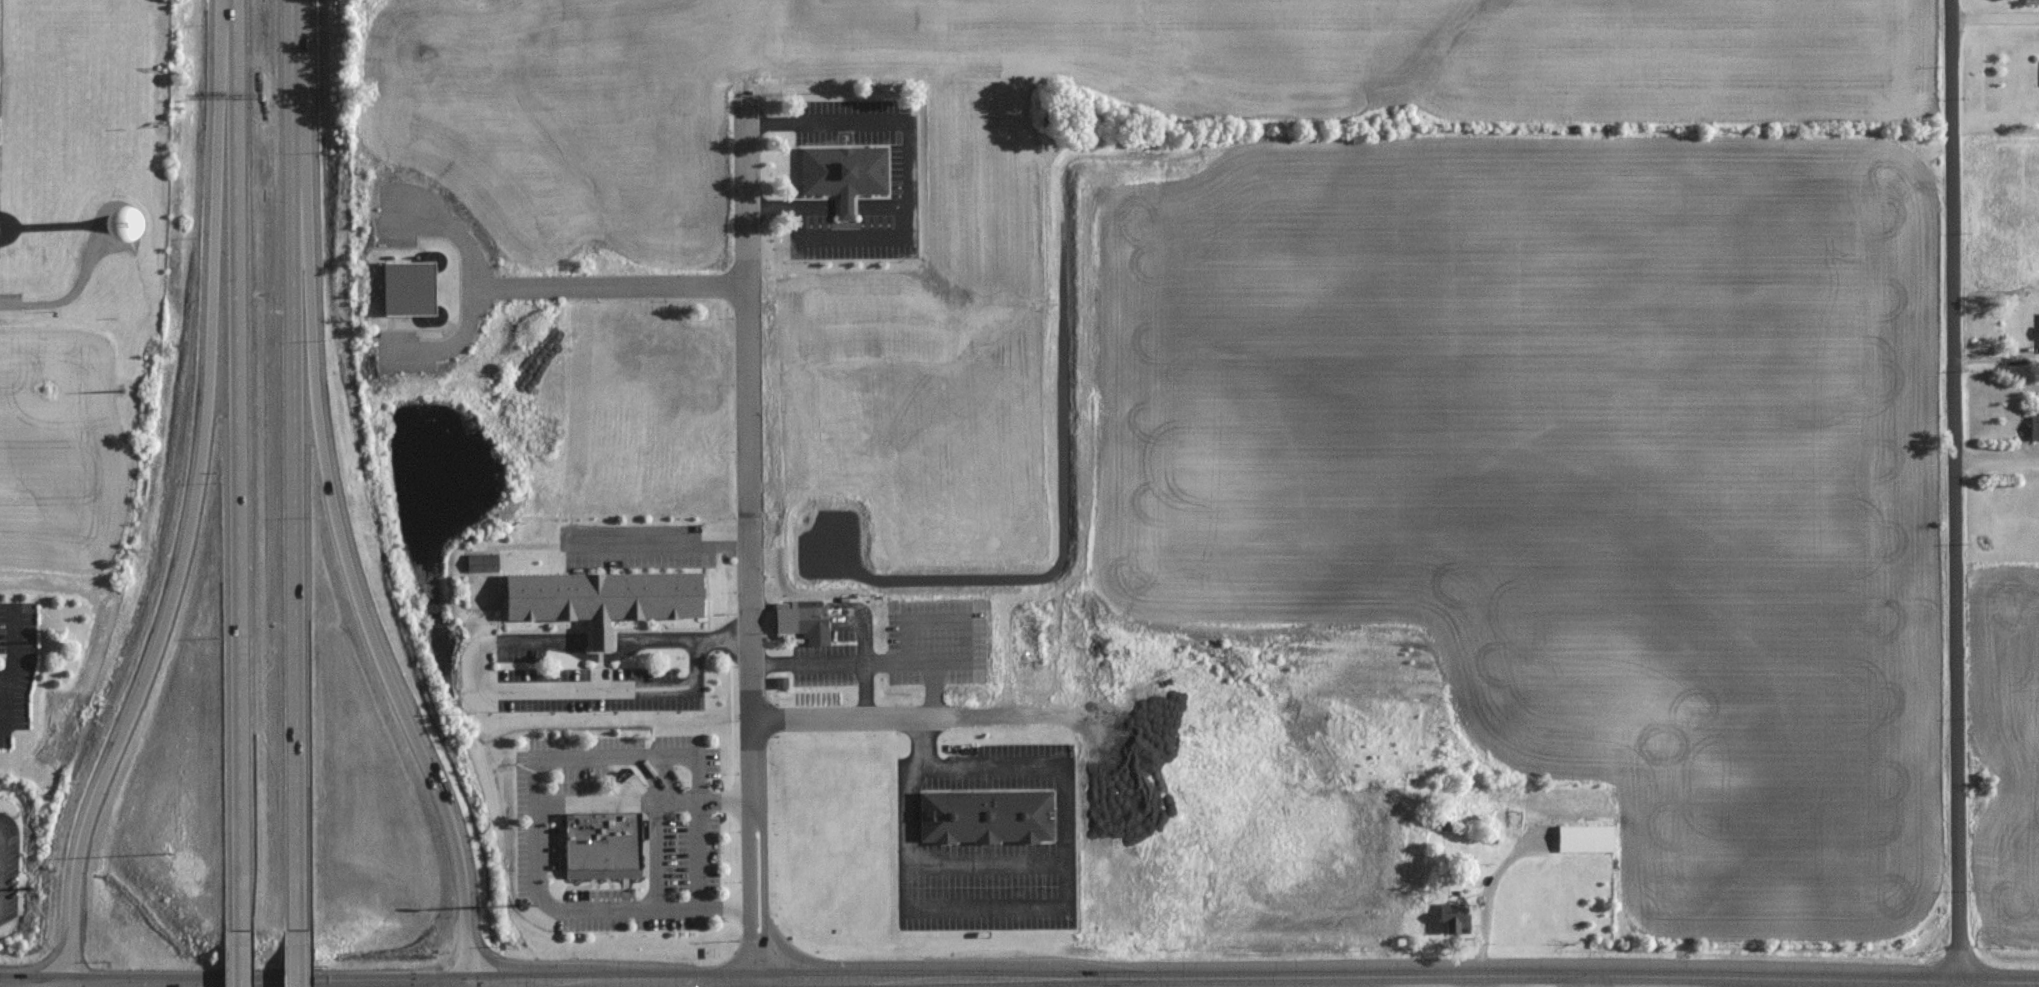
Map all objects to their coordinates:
road: (1996, 19)
building: (843, 173)
road: (906, 191)
water tower: (117, 224)
road: (611, 286)
road: (471, 287)
building: (408, 288)
road: (76, 291)
road: (10, 301)
building: (2034, 425)
road: (238, 460)
road: (299, 462)
road: (1958, 492)
road: (194, 500)
road: (346, 527)
road: (751, 543)
road: (665, 544)
building: (482, 562)
building: (602, 598)
building: (811, 618)
road: (660, 640)
road: (13, 646)
road: (866, 662)
road: (863, 690)
road: (554, 691)
road: (896, 716)
road: (610, 756)
building: (986, 815)
building: (1572, 838)
building: (601, 844)
road: (537, 854)
road: (982, 864)
road: (1063, 894)
road: (241, 954)
road: (301, 956)
road: (1253, 979)
road: (34, 982)
road: (268, 982)
road: (1586, 982)
road: (68, 984)
road: (468, 985)

